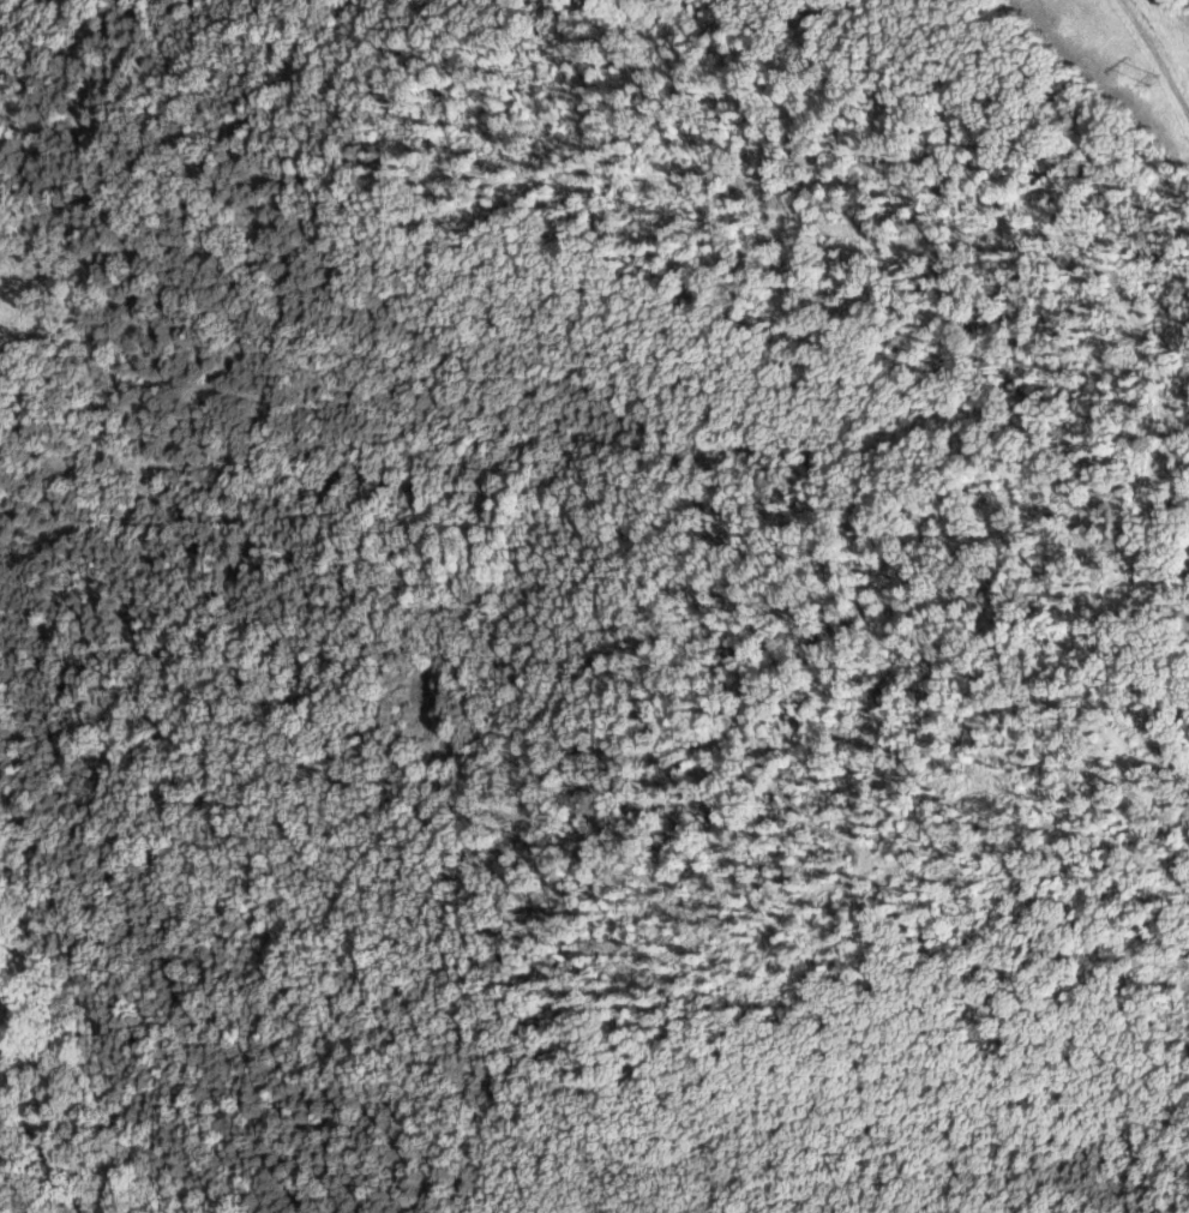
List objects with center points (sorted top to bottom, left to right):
power tower: (1152, 78)

